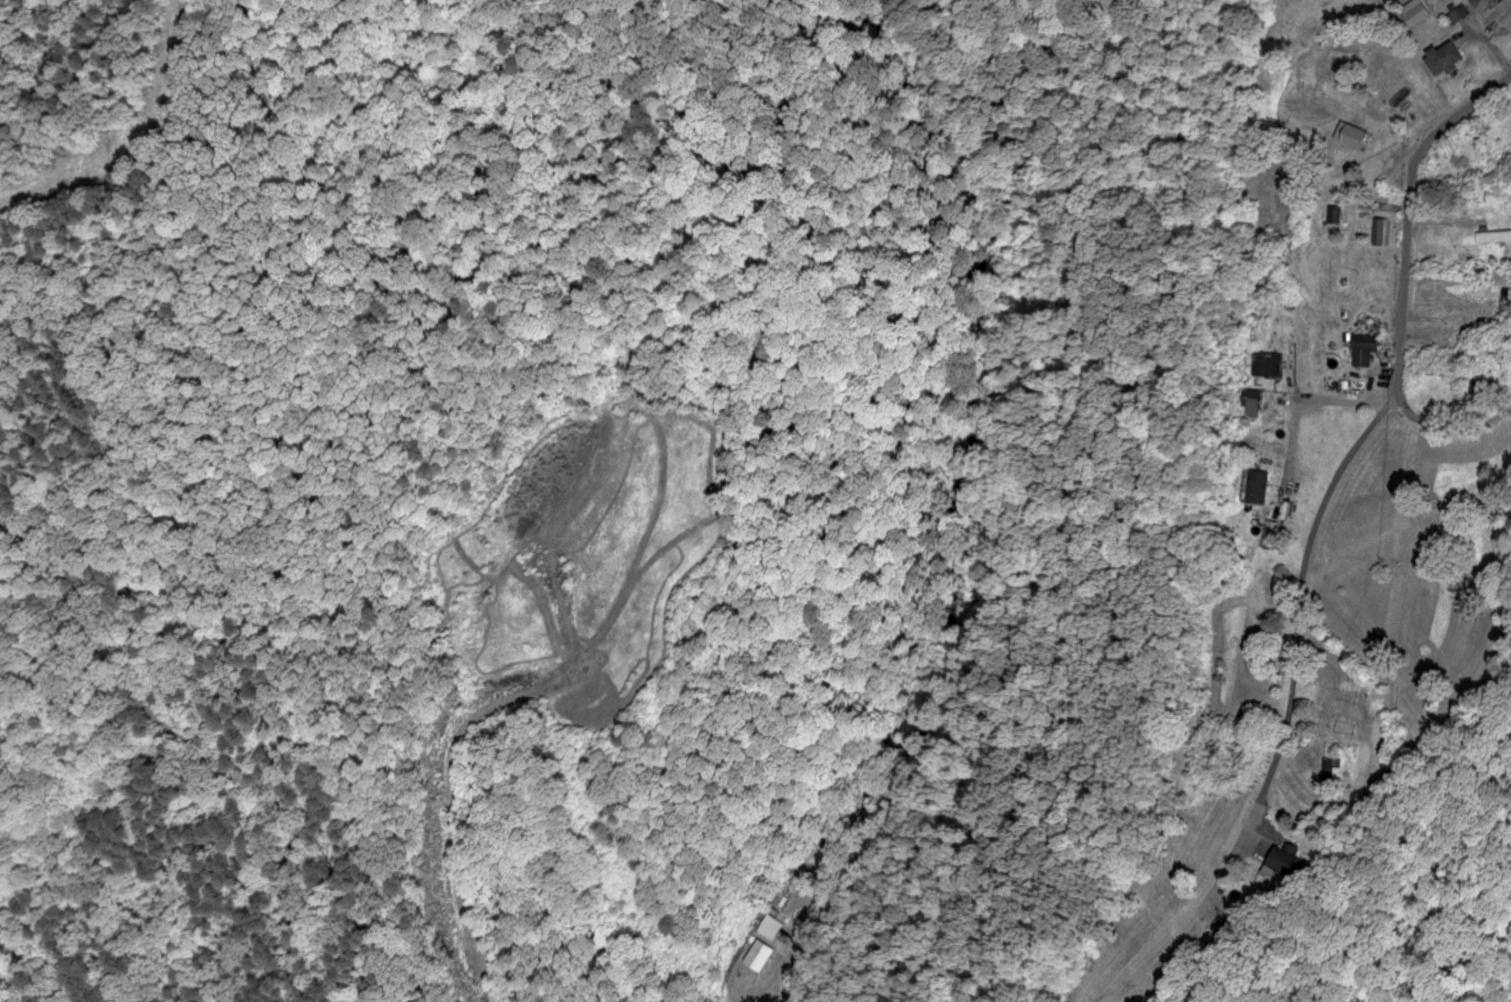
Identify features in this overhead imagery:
building: (1472, 1)
building: (1411, 12)
building: (1442, 57)
building: (1375, 103)
building: (1352, 135)
building: (1332, 213)
road: (1406, 213)
building: (1379, 230)
building: (1493, 235)
building: (1363, 347)
building: (1267, 363)
building: (1249, 400)
road: (1294, 409)
road: (1449, 428)
building: (1256, 485)
building: (1268, 532)
road: (1295, 638)
building: (1328, 765)
building: (1284, 862)
road: (243, 884)
building: (1228, 923)

